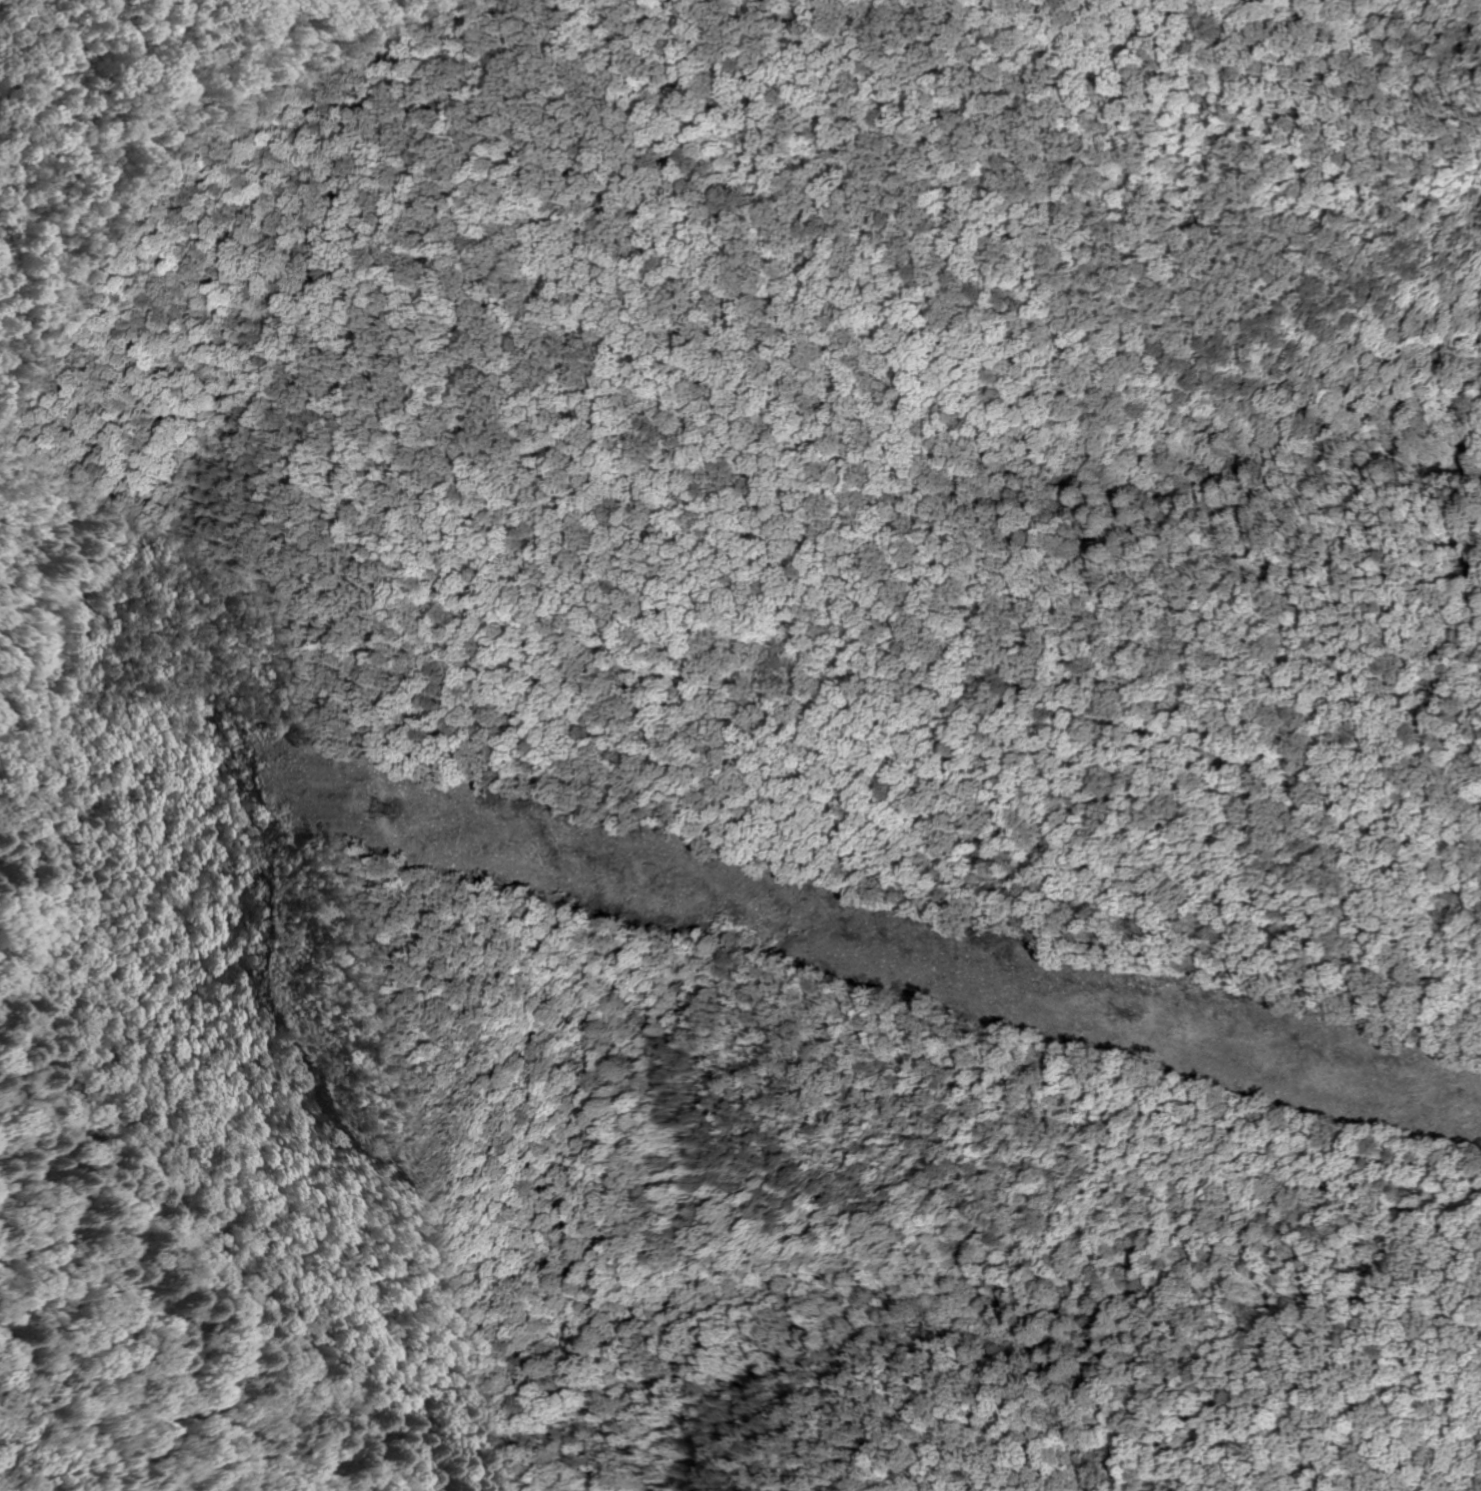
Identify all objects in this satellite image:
road: (866, 593)

